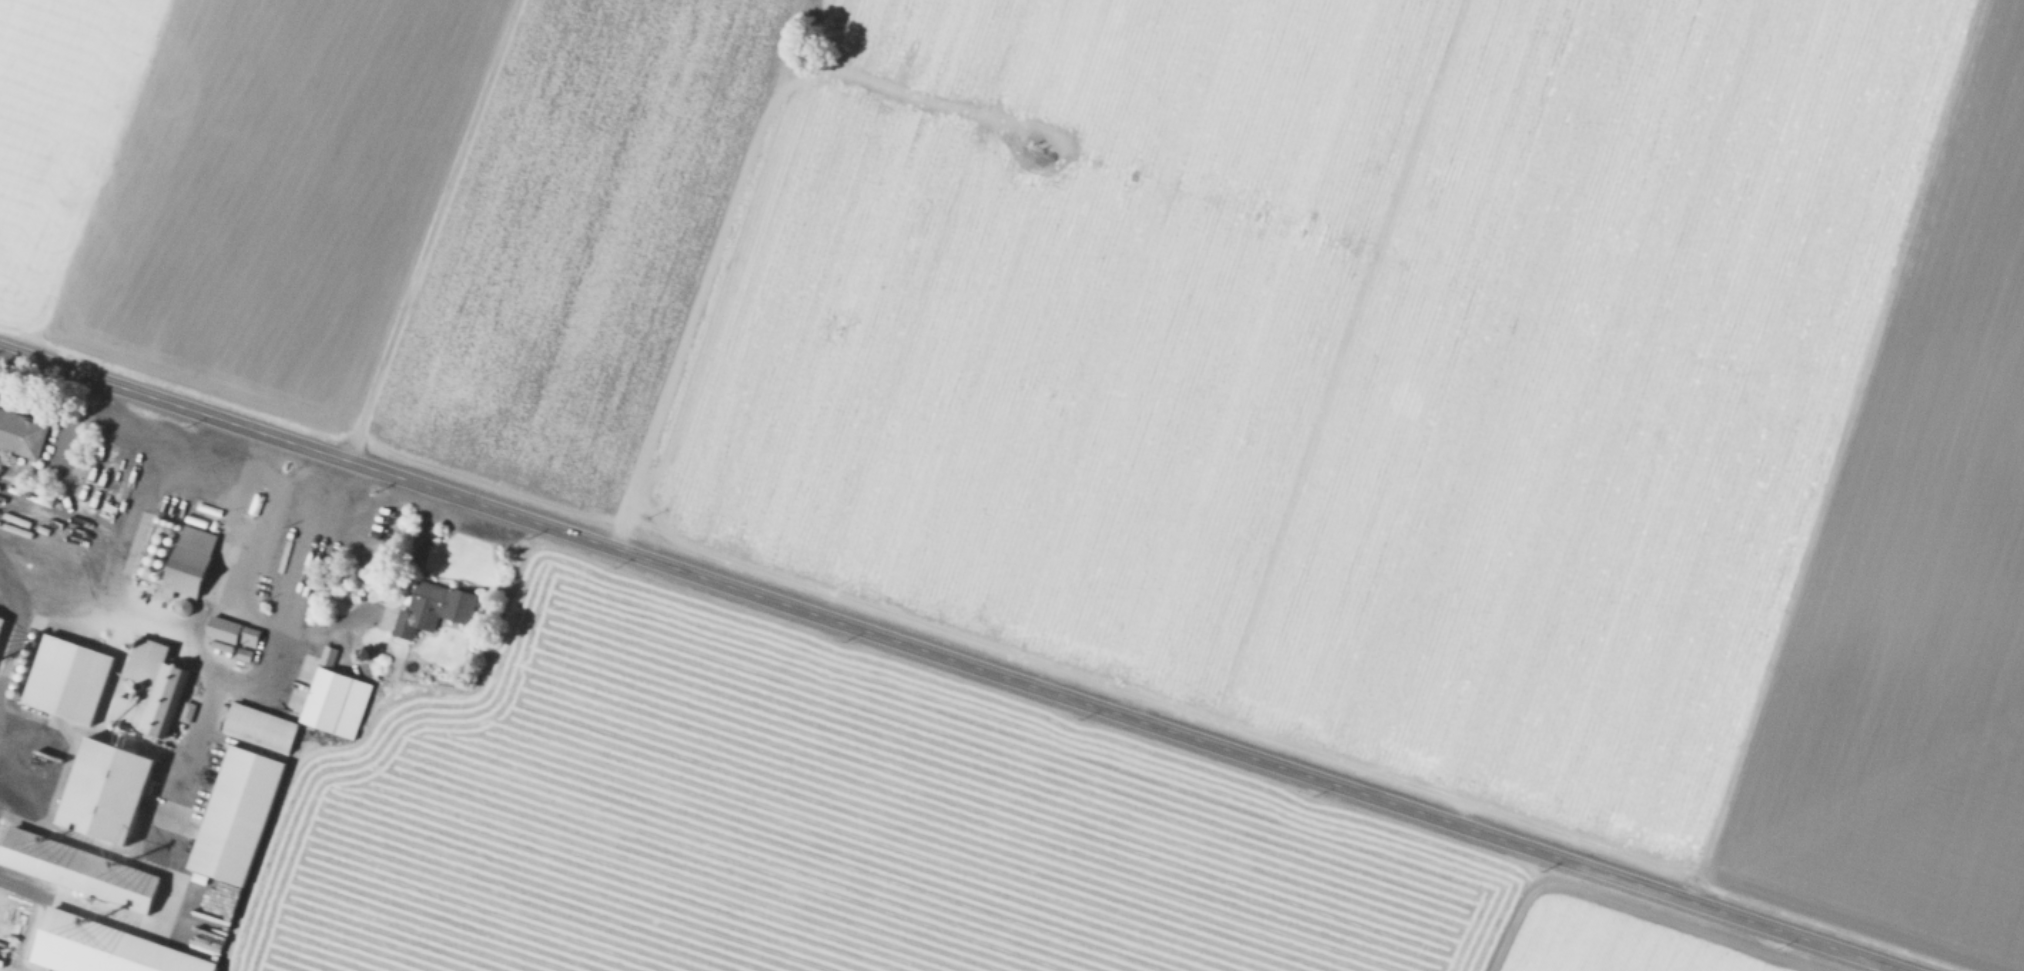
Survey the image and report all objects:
road: (430, 230)
crop: (1181, 354)
road: (51, 407)
building: (20, 432)
road: (153, 436)
building: (1536, 464)
road: (259, 486)
building: (184, 561)
road: (109, 563)
building: (430, 608)
building: (230, 634)
road: (951, 659)
building: (65, 679)
building: (145, 689)
building: (332, 702)
building: (257, 725)
crop: (592, 780)
building: (101, 789)
building: (233, 814)
building: (76, 868)

